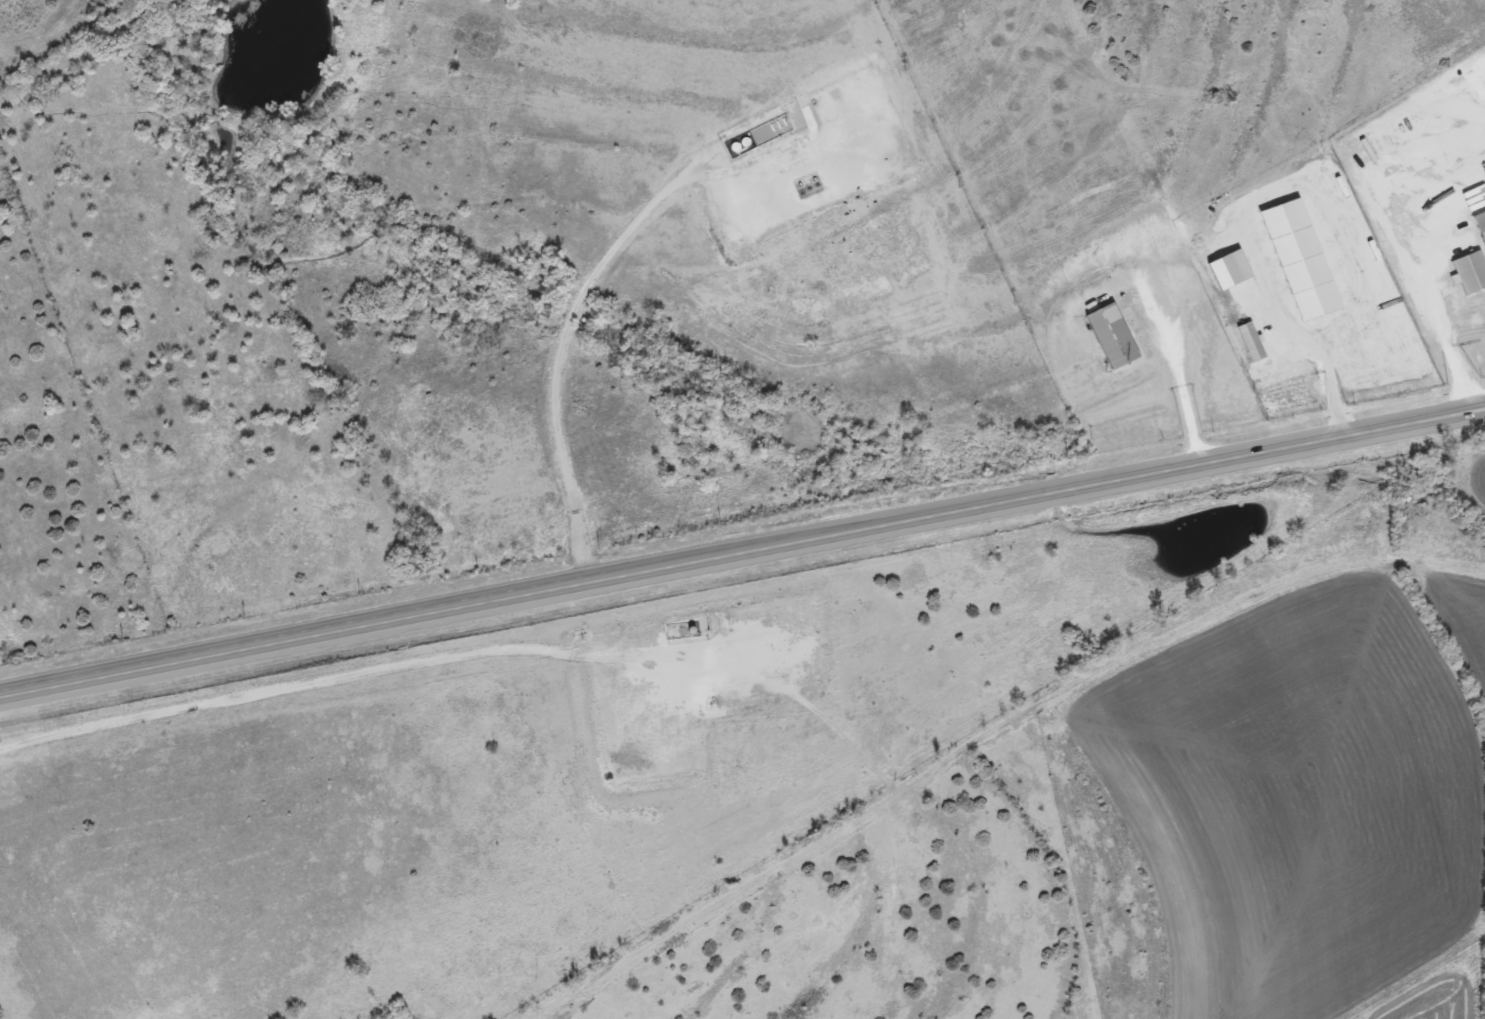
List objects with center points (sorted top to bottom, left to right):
building: (1479, 226)
building: (1303, 261)
building: (1469, 271)
road: (1421, 289)
building: (1109, 335)
road: (556, 356)
road: (1322, 364)
road: (742, 554)

